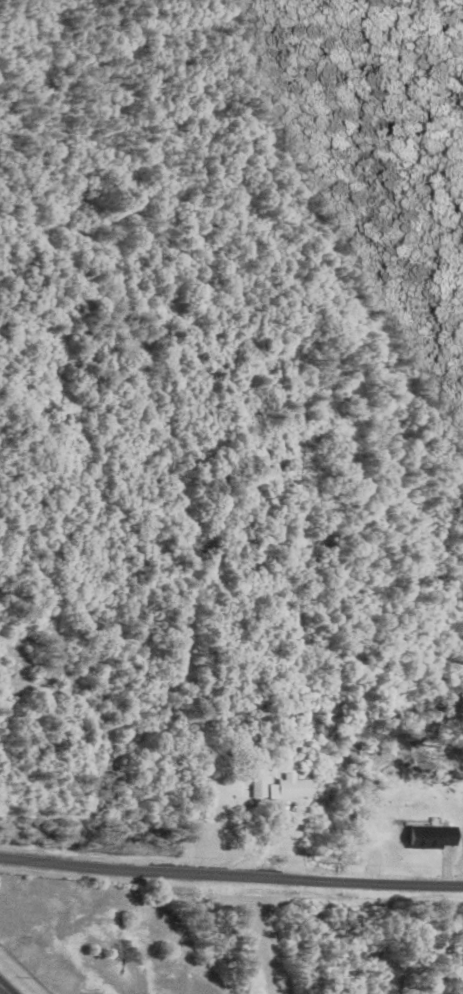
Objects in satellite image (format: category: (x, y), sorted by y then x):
building: (288, 788)
building: (428, 836)
road: (231, 875)
road: (3, 990)

